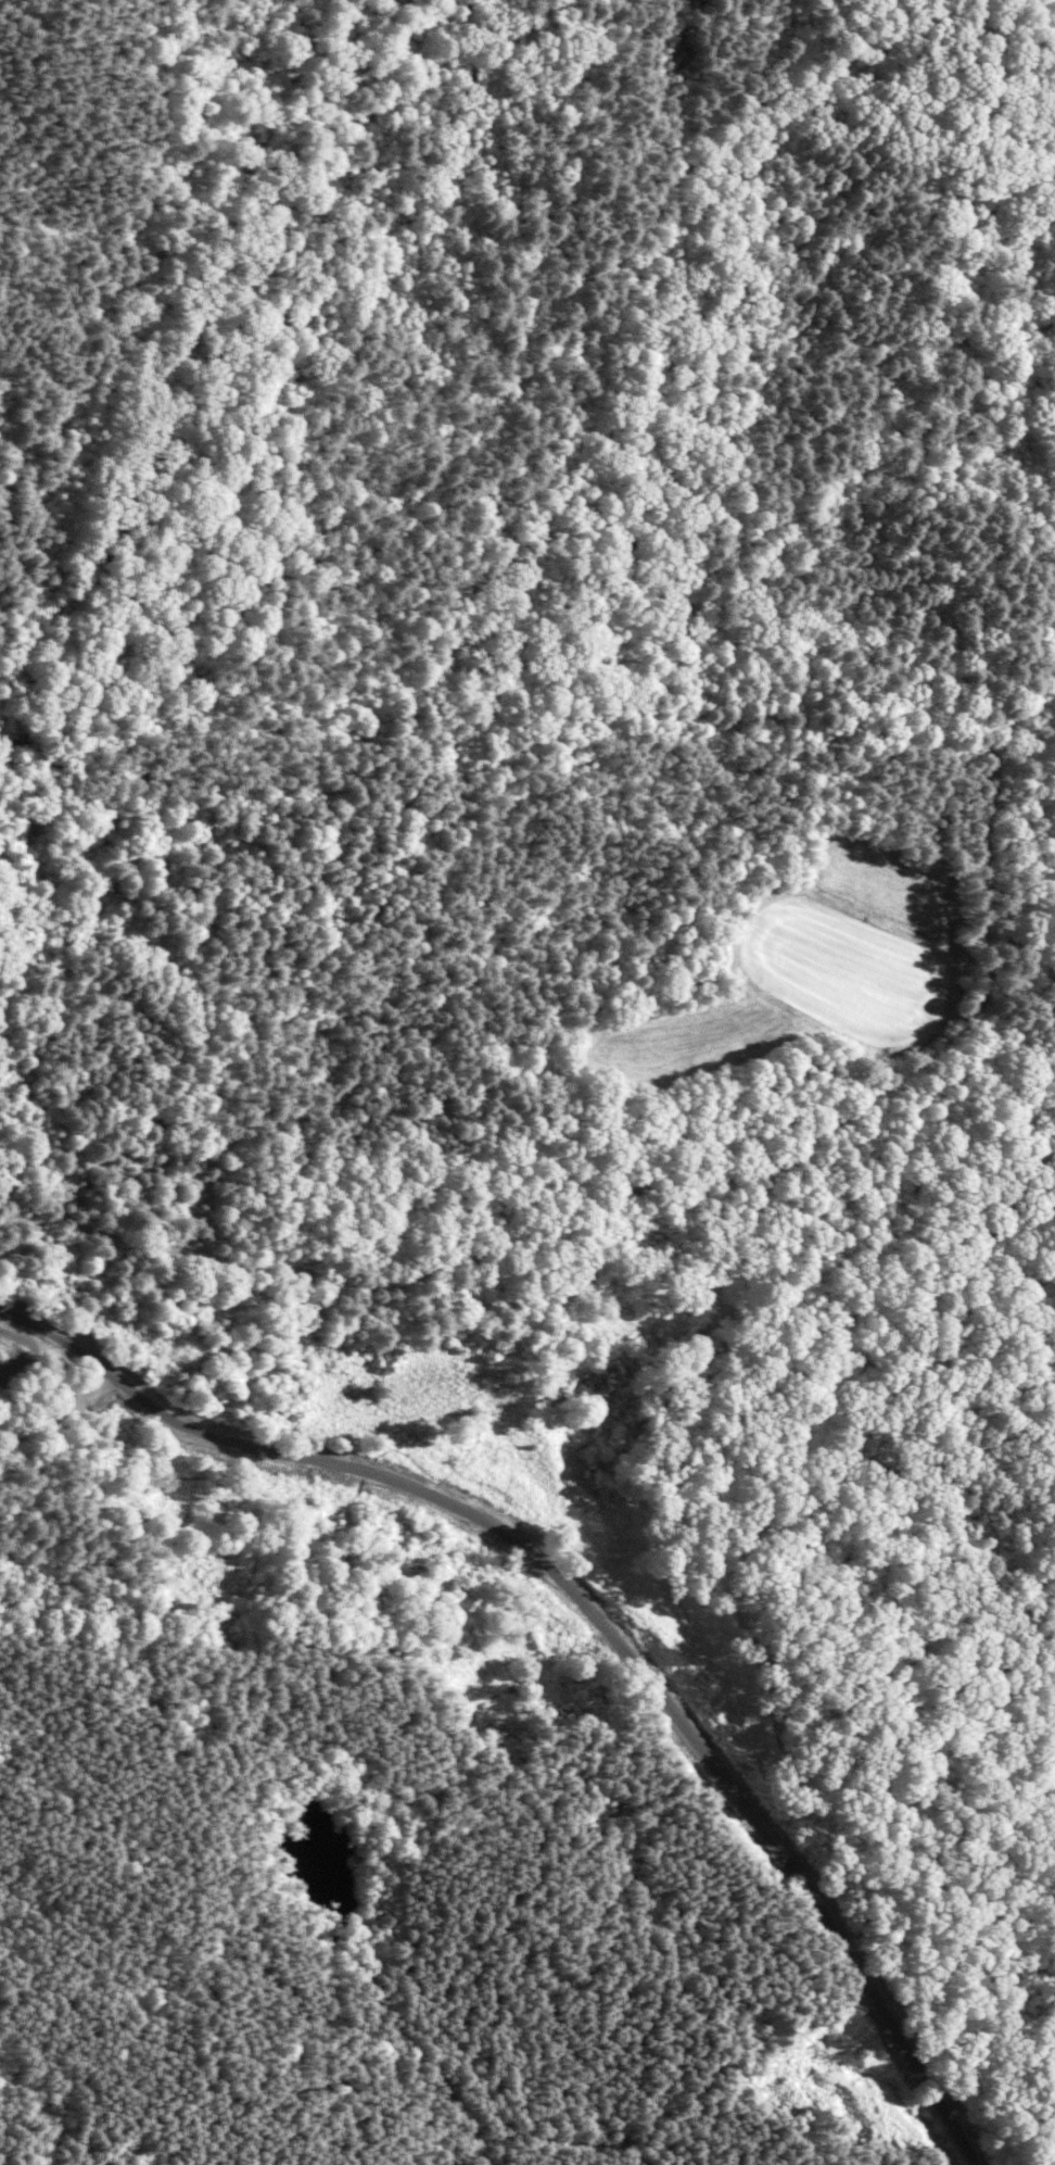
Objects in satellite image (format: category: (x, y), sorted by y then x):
road: (581, 1103)
road: (61, 1411)
road: (613, 1615)

